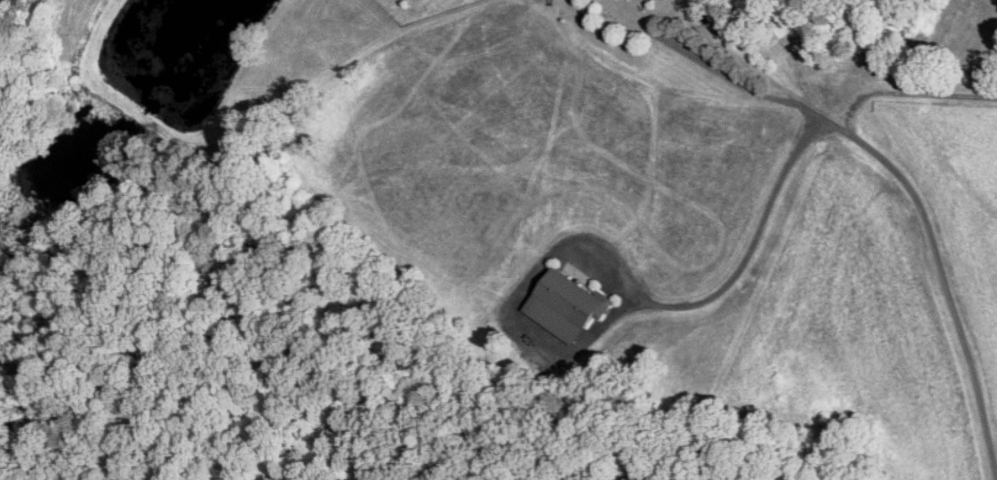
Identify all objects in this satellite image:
road: (907, 92)
road: (891, 171)
road: (749, 248)
building: (568, 307)

